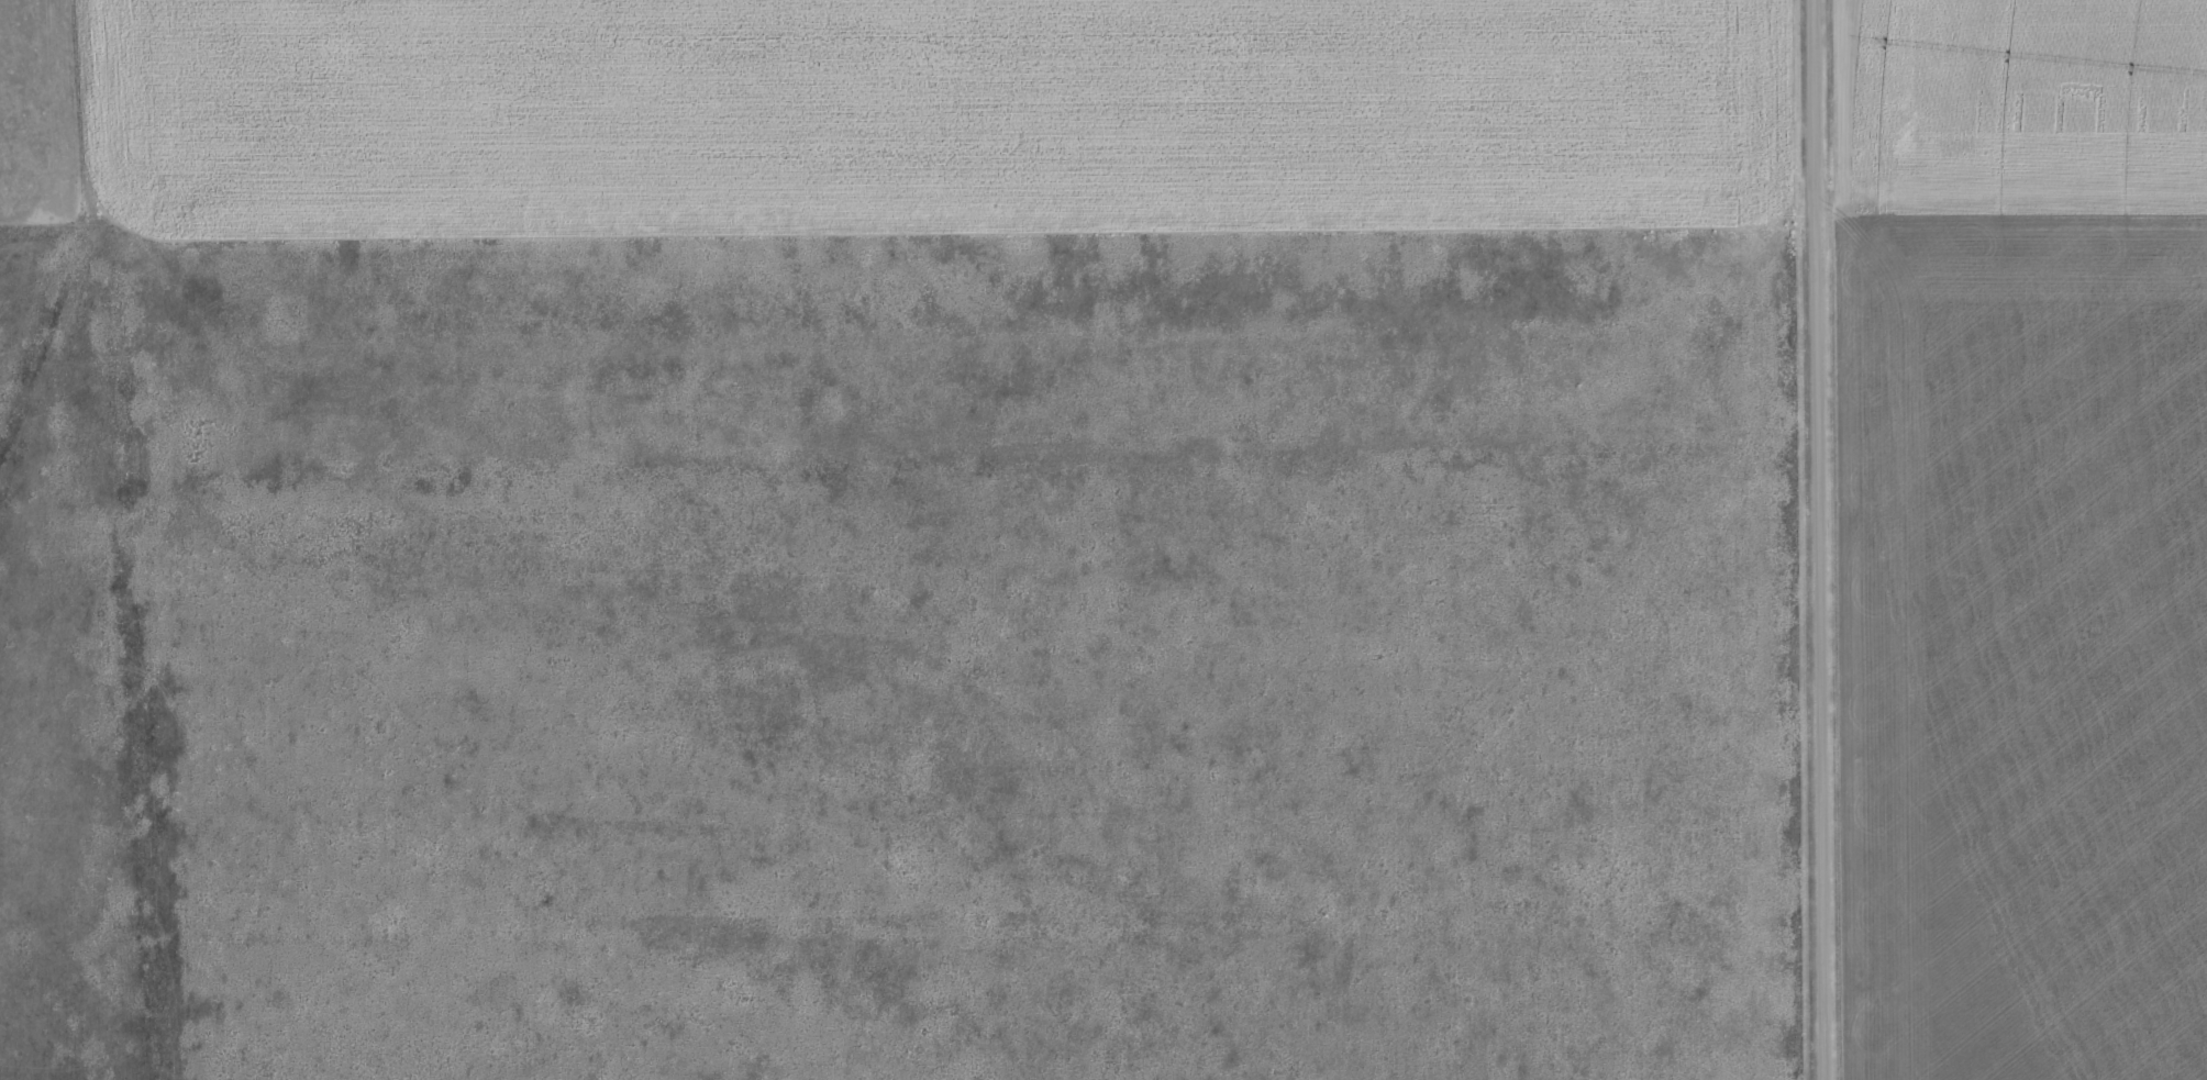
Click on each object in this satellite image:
road: (1819, 539)

